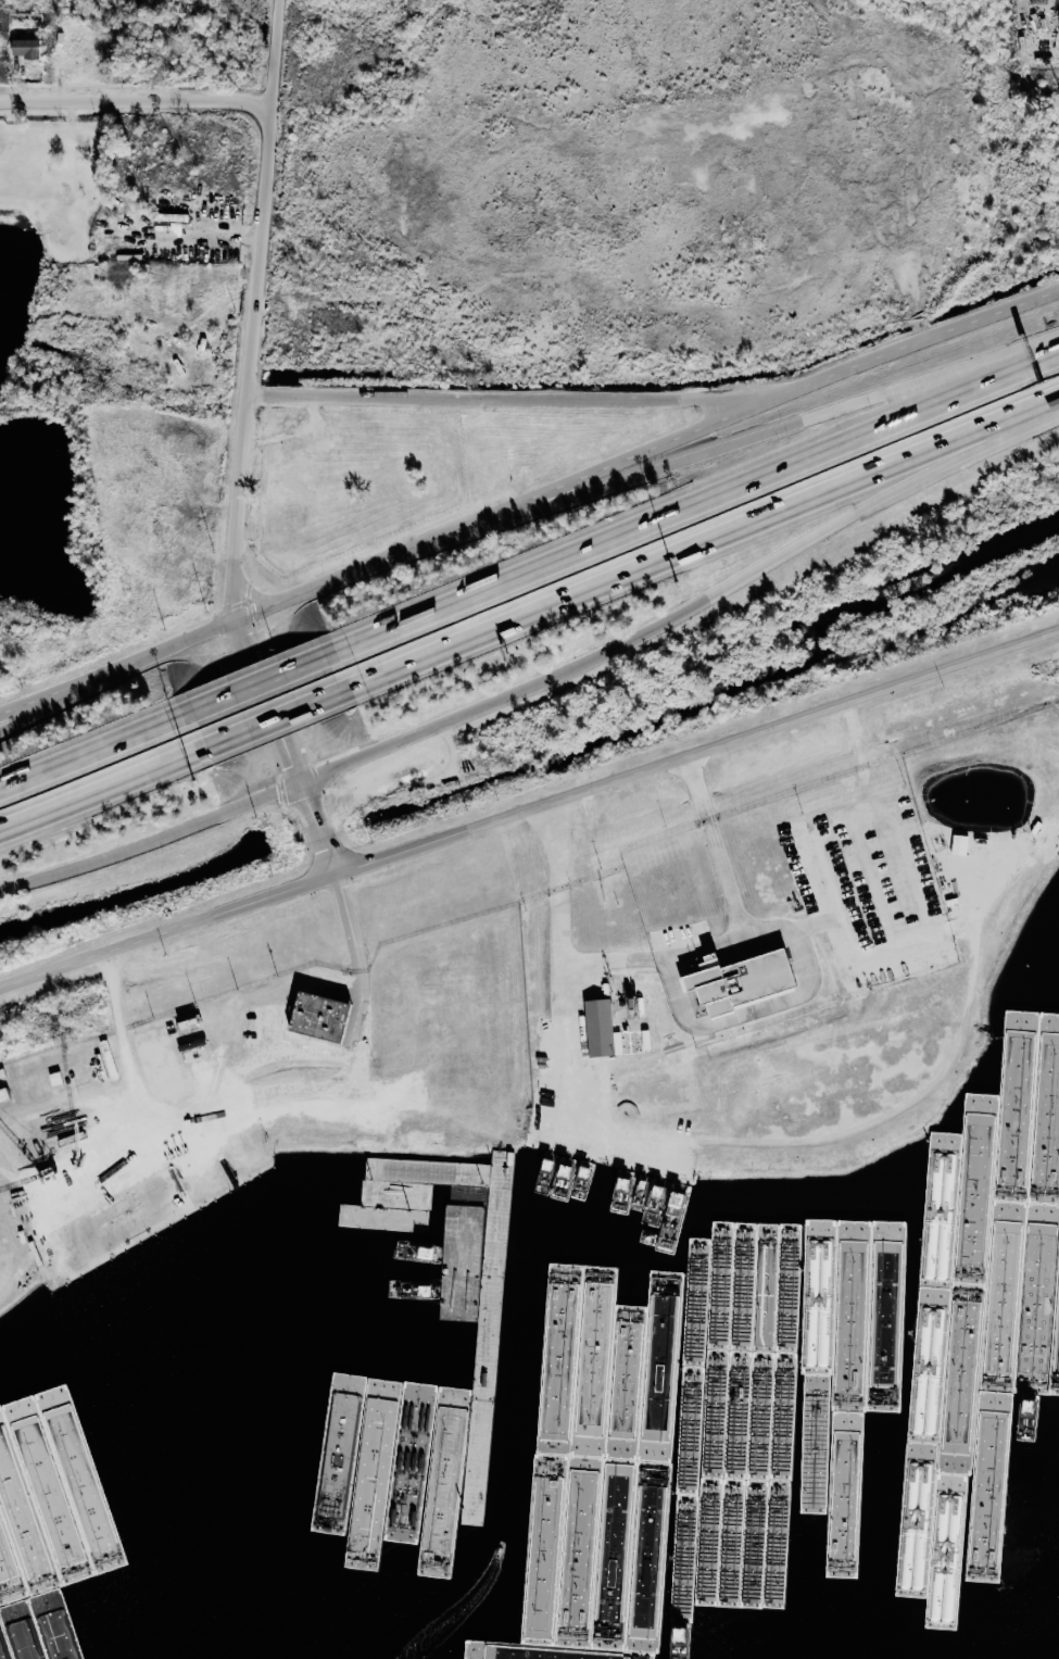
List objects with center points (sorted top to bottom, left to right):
road: (1021, 37)
building: (23, 48)
road: (139, 98)
quarry: (697, 171)
building: (169, 293)
road: (261, 302)
road: (918, 345)
road: (515, 400)
road: (780, 427)
road: (639, 456)
road: (696, 501)
road: (704, 537)
road: (692, 608)
road: (251, 619)
road: (255, 679)
road: (276, 695)
road: (51, 702)
road: (272, 717)
road: (88, 749)
road: (702, 752)
road: (96, 788)
road: (833, 828)
road: (329, 829)
building: (958, 844)
road: (157, 845)
road: (719, 847)
road: (173, 932)
building: (734, 981)
road: (679, 1015)
building: (314, 1016)
building: (598, 1029)
building: (644, 1039)
road: (339, 1046)
road: (560, 1101)
road: (163, 1120)
road: (129, 1224)
building: (39, 1381)

